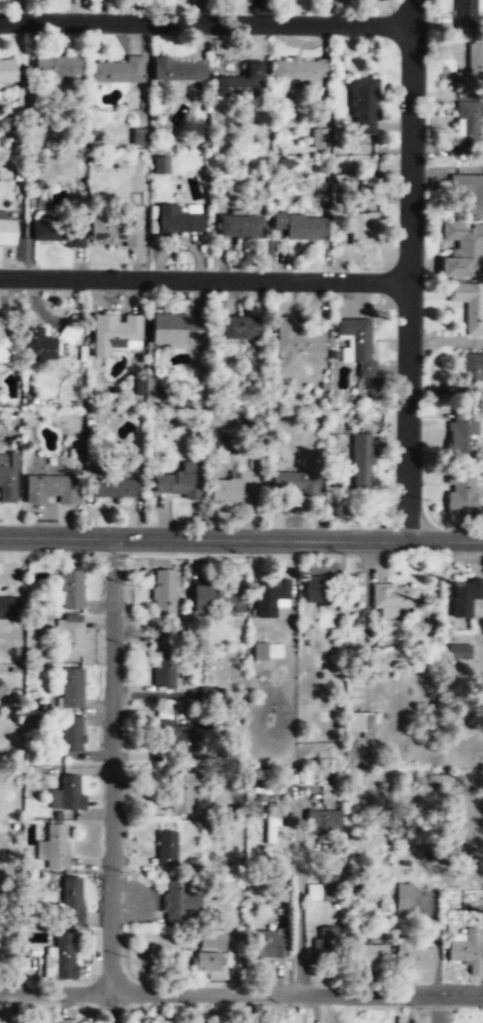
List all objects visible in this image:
building: (468, 11)
road: (410, 13)
road: (204, 22)
building: (59, 64)
building: (8, 69)
building: (119, 69)
building: (179, 71)
building: (299, 71)
building: (469, 71)
building: (243, 81)
building: (360, 104)
building: (465, 132)
building: (139, 136)
building: (318, 137)
building: (161, 164)
building: (471, 196)
building: (179, 220)
building: (299, 227)
building: (239, 229)
building: (362, 230)
building: (114, 231)
building: (7, 233)
building: (60, 233)
building: (463, 252)
road: (203, 280)
road: (406, 283)
building: (469, 306)
building: (242, 327)
building: (177, 328)
building: (114, 331)
building: (296, 337)
building: (358, 343)
building: (41, 344)
building: (8, 347)
building: (472, 370)
building: (462, 433)
building: (360, 460)
building: (8, 479)
building: (295, 482)
building: (178, 485)
building: (115, 487)
building: (234, 490)
building: (51, 491)
building: (460, 493)
street lamp: (421, 499)
road: (241, 539)
street lamp: (131, 557)
building: (318, 588)
building: (72, 590)
building: (164, 590)
building: (271, 595)
building: (394, 595)
building: (466, 596)
building: (217, 600)
building: (8, 611)
building: (72, 636)
building: (266, 651)
building: (460, 651)
building: (164, 669)
building: (72, 688)
building: (2, 690)
building: (210, 692)
building: (358, 725)
building: (73, 734)
building: (175, 735)
street lamp: (124, 765)
road: (111, 780)
building: (185, 792)
building: (71, 794)
building: (271, 818)
building: (323, 821)
building: (56, 846)
building: (166, 849)
building: (41, 850)
building: (323, 890)
building: (404, 898)
building: (72, 900)
building: (177, 902)
road: (298, 909)
building: (212, 940)
building: (324, 944)
building: (268, 946)
building: (466, 951)
building: (371, 956)
building: (414, 957)
building: (61, 958)
building: (208, 966)
road: (241, 994)
street lamp: (193, 1006)
street lamp: (419, 1007)
road: (438, 1009)
building: (68, 1021)

